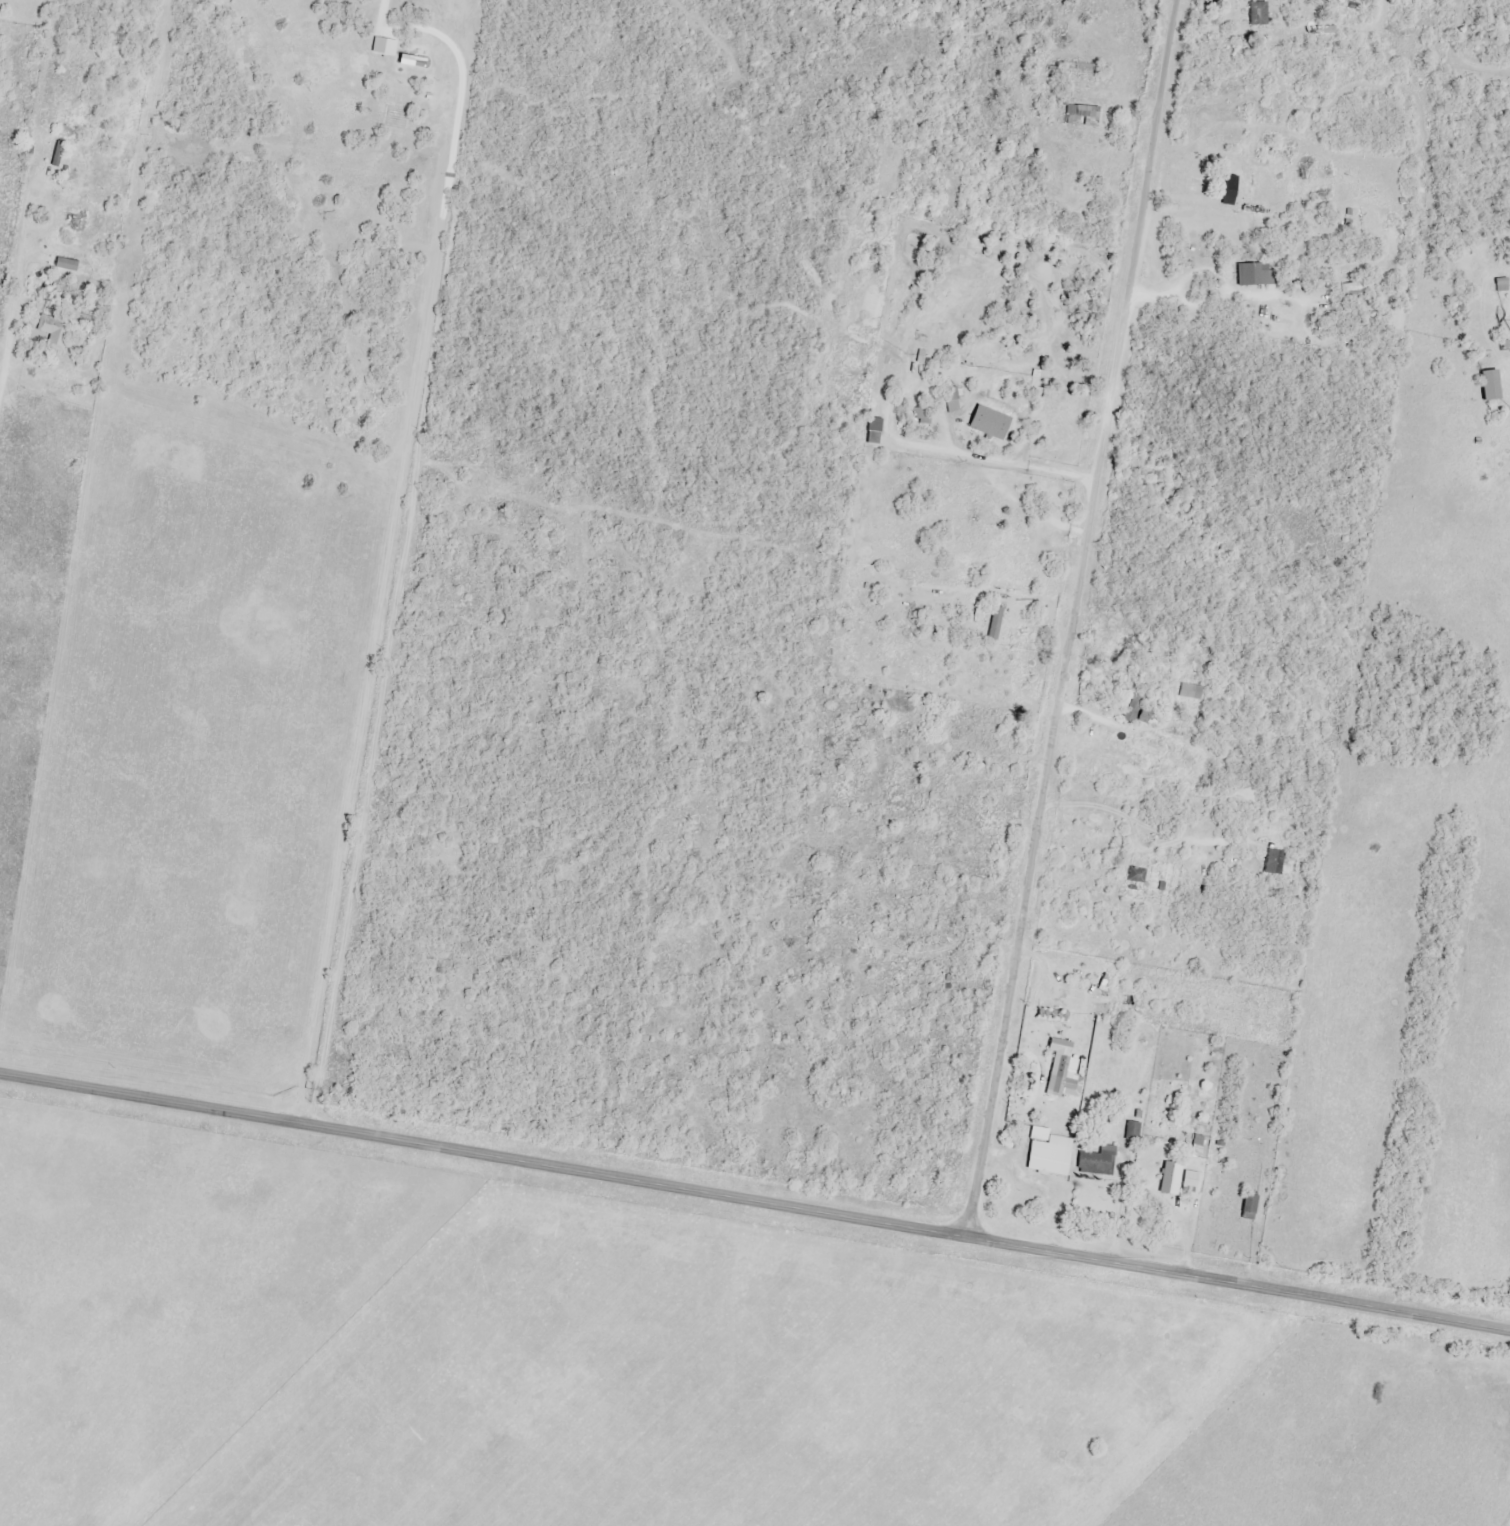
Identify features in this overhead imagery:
building: (412, 5)
building: (1258, 14)
building: (392, 68)
building: (1071, 73)
building: (1077, 112)
building: (1229, 181)
building: (67, 265)
building: (1255, 275)
building: (1351, 290)
building: (55, 332)
building: (1491, 386)
building: (918, 417)
road: (1071, 618)
building: (1190, 692)
building: (1136, 710)
building: (1274, 863)
building: (1137, 876)
building: (1053, 1016)
building: (1064, 1087)
building: (1132, 1132)
building: (1050, 1157)
building: (1097, 1163)
building: (1190, 1180)
road: (755, 1201)
building: (1250, 1205)
road: (1505, 1518)

